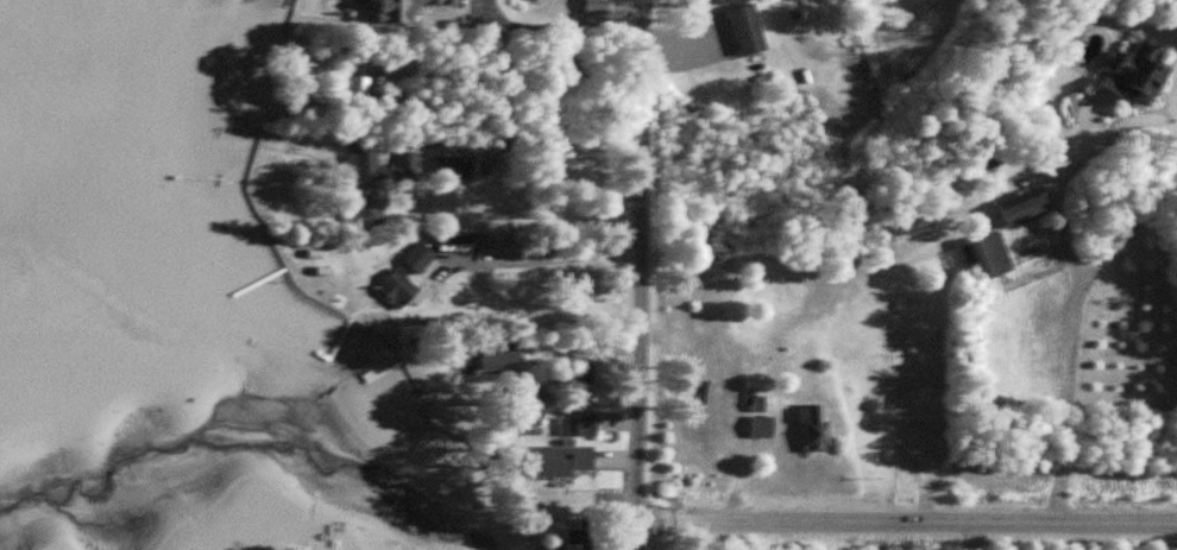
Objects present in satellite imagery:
building: (440, 8)
building: (484, 14)
road: (564, 25)
building: (741, 31)
building: (1126, 77)
building: (350, 87)
road: (528, 140)
building: (361, 162)
road: (1072, 162)
building: (452, 167)
building: (435, 202)
building: (366, 209)
road: (1128, 222)
building: (997, 238)
road: (541, 257)
building: (416, 260)
road: (644, 274)
building: (395, 289)
building: (487, 356)
building: (577, 377)
road: (1060, 398)
building: (751, 405)
building: (575, 426)
building: (757, 429)
building: (808, 430)
building: (549, 463)
road: (902, 516)
building: (577, 548)

